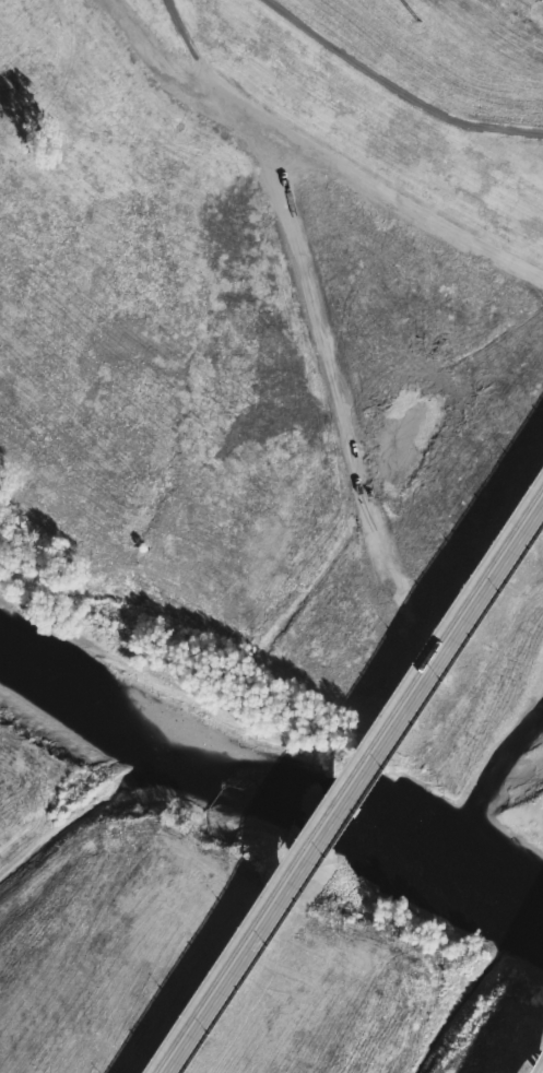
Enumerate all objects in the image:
power tower: (423, 23)
road: (362, 67)
road: (503, 132)
road: (318, 155)
road: (307, 253)
park: (271, 536)
river: (264, 764)
railway: (349, 779)
road: (355, 787)

